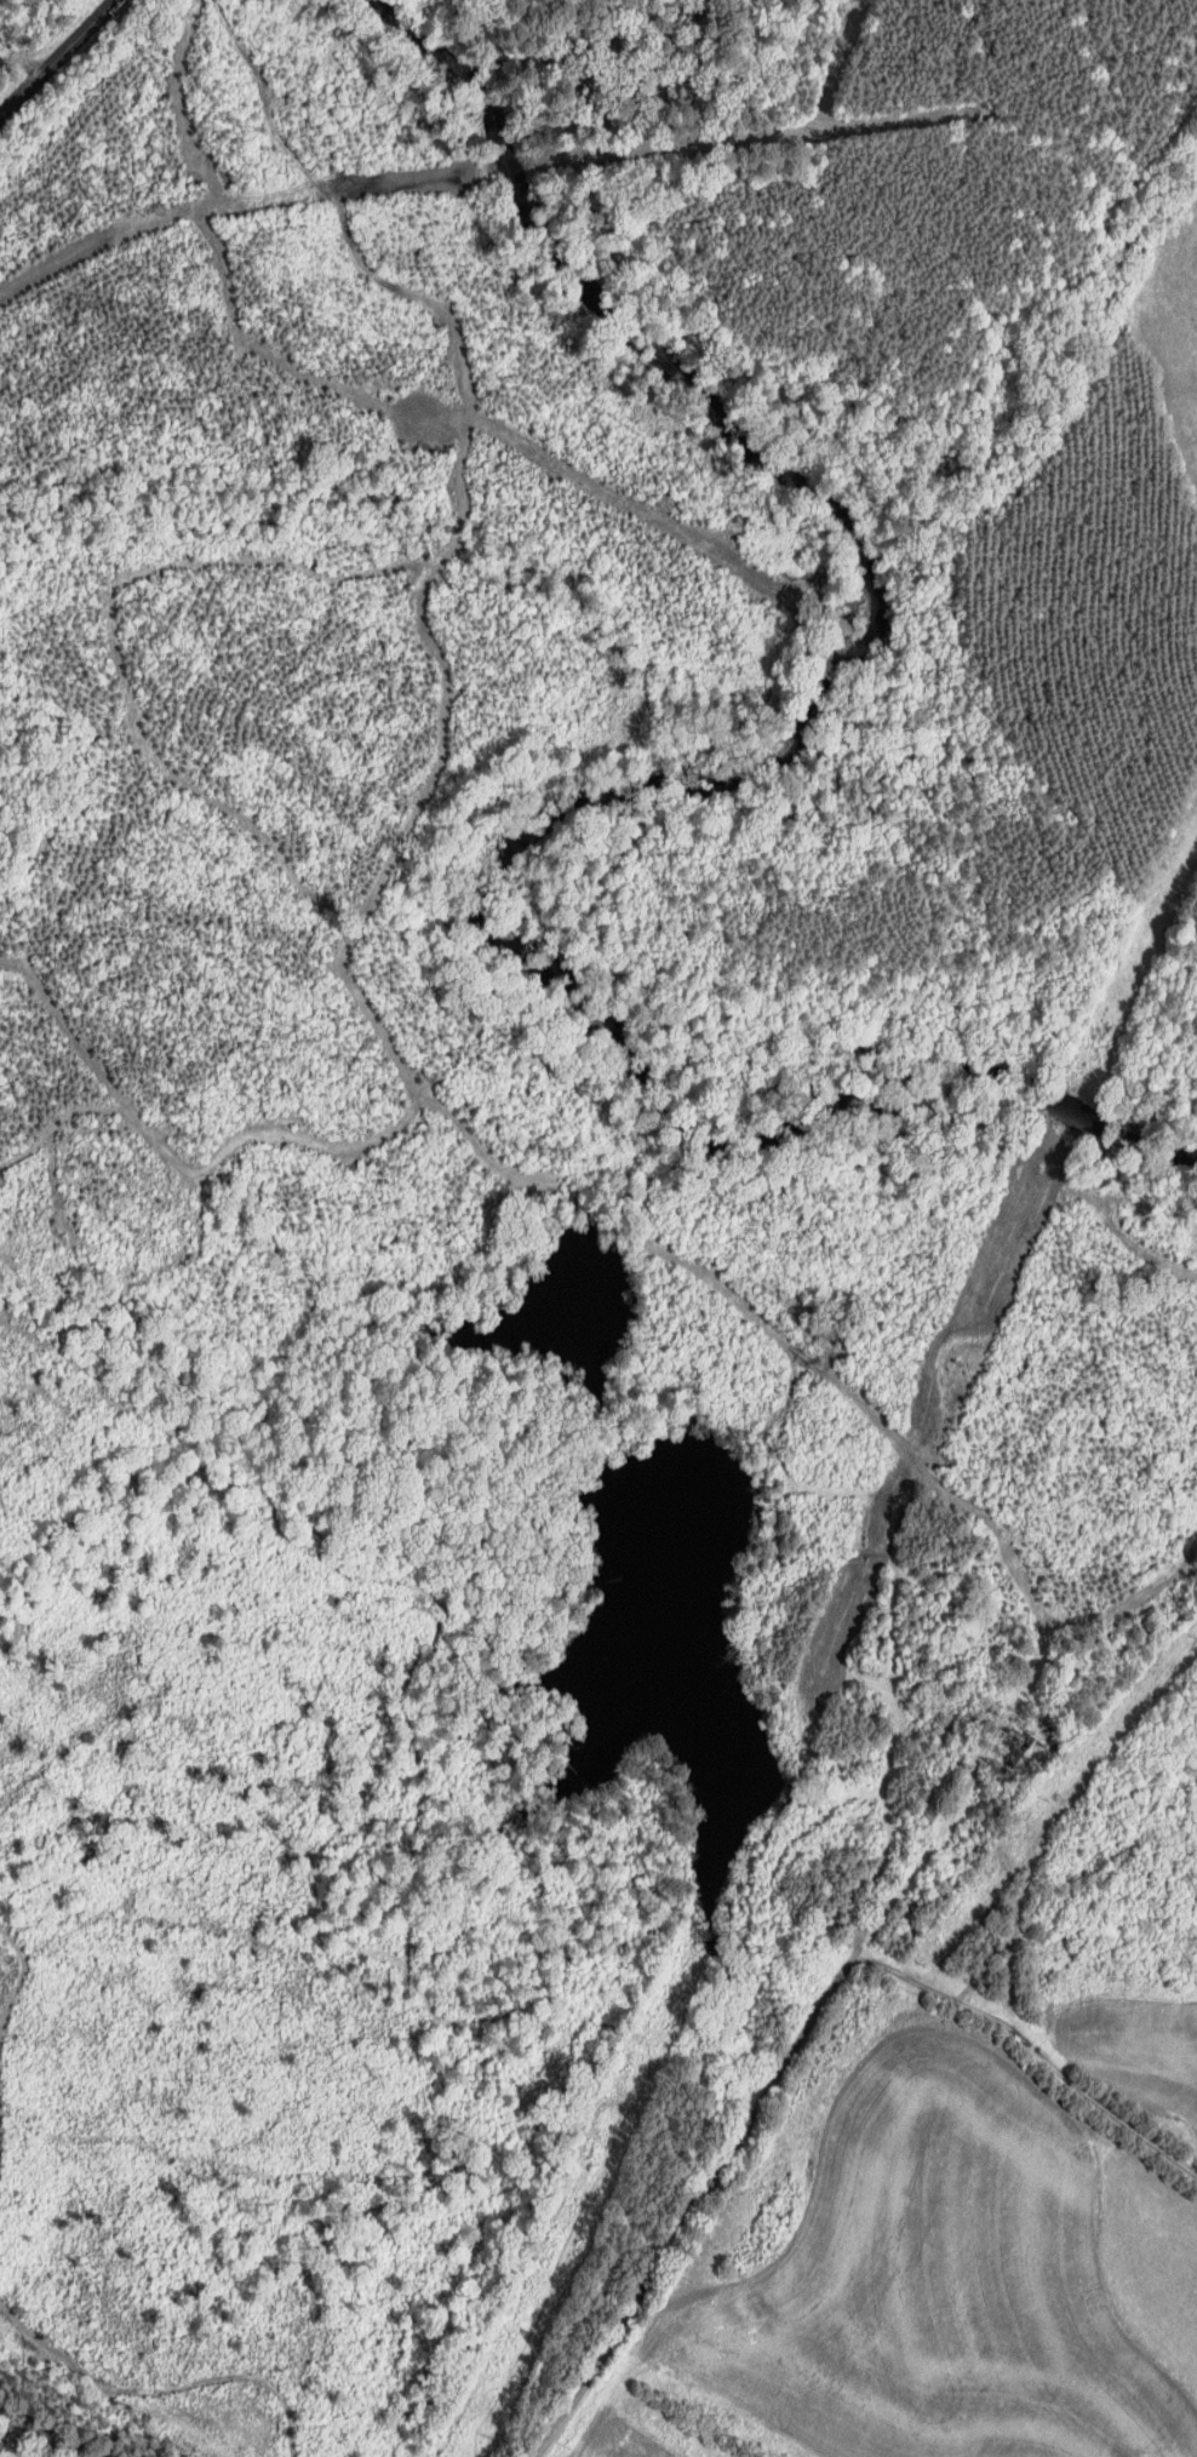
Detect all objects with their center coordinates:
road: (56, 58)
road: (1021, 1735)
road: (819, 2009)
road: (7, 2037)
road: (1050, 2066)
road: (697, 2199)
road: (160, 2387)
road: (4, 2423)
road: (44, 2434)

